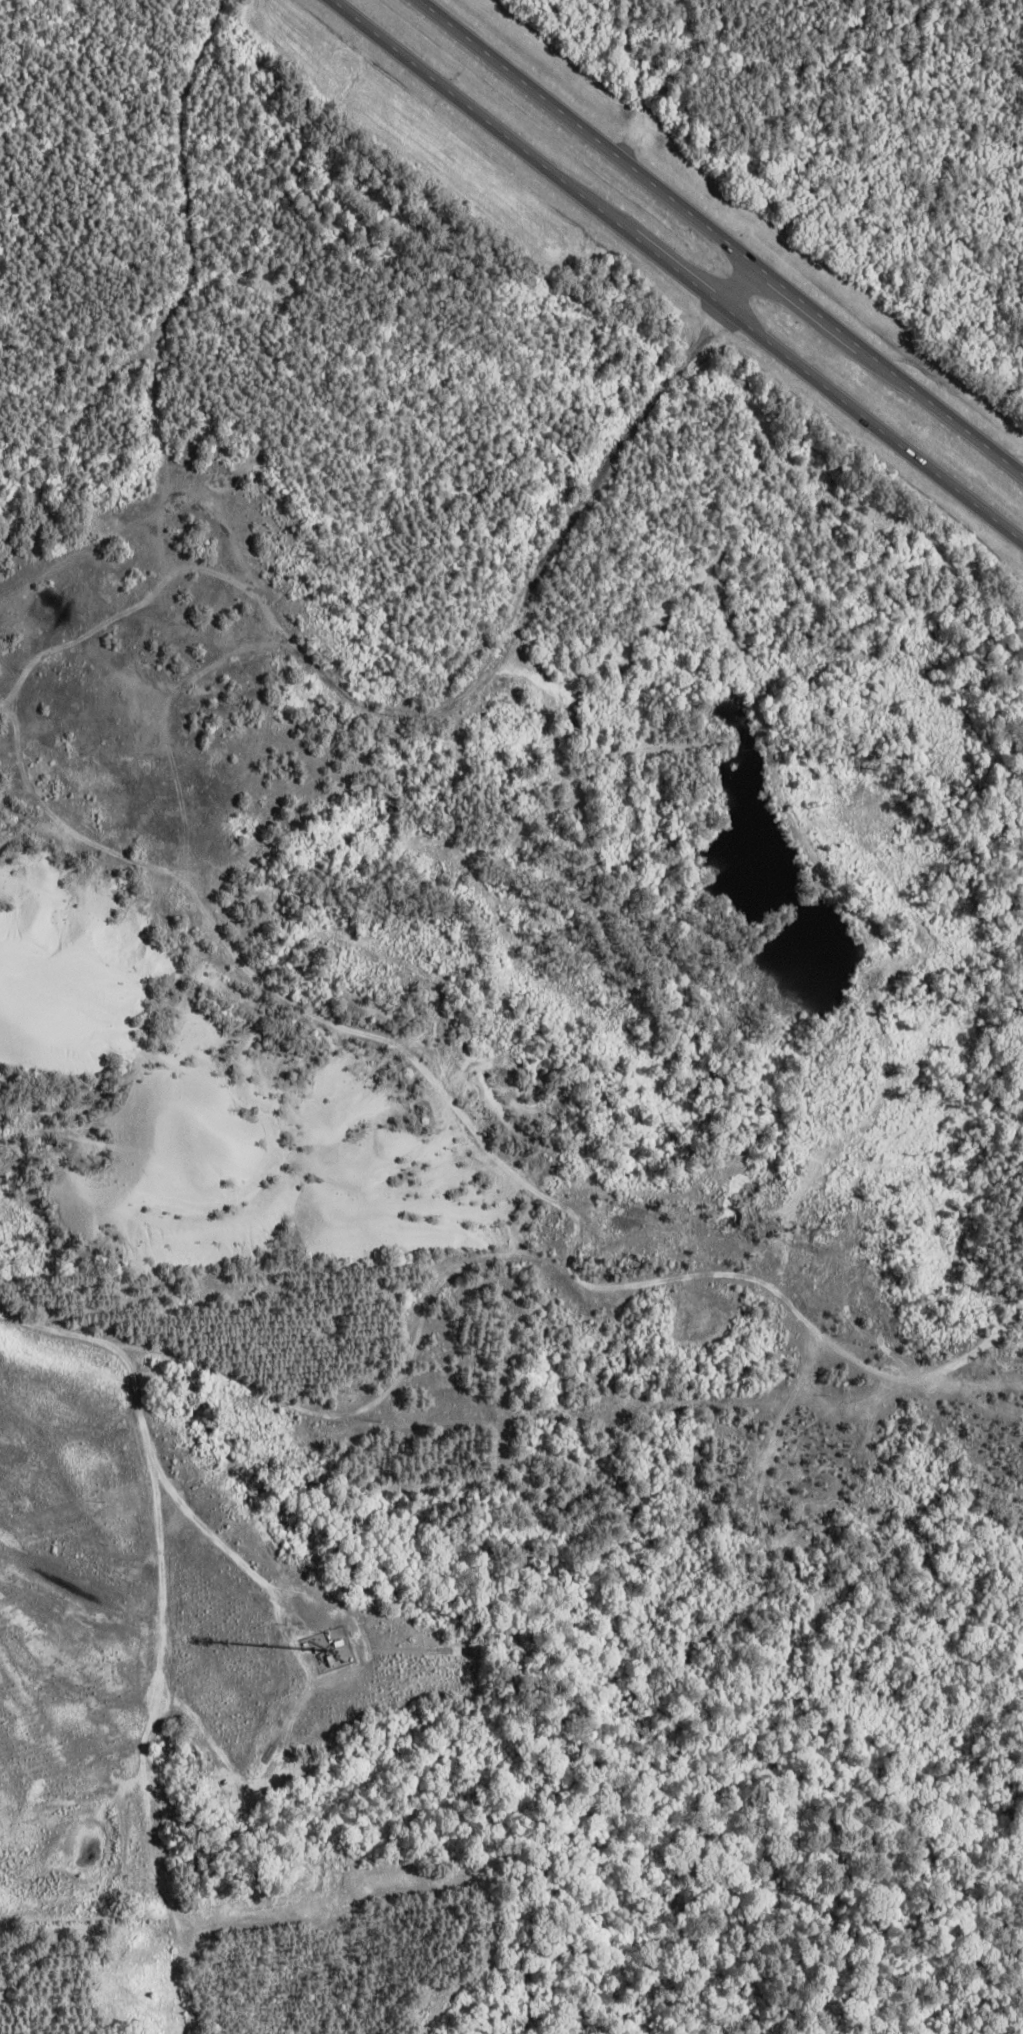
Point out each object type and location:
road: (720, 236)
road: (677, 270)
road: (590, 489)

